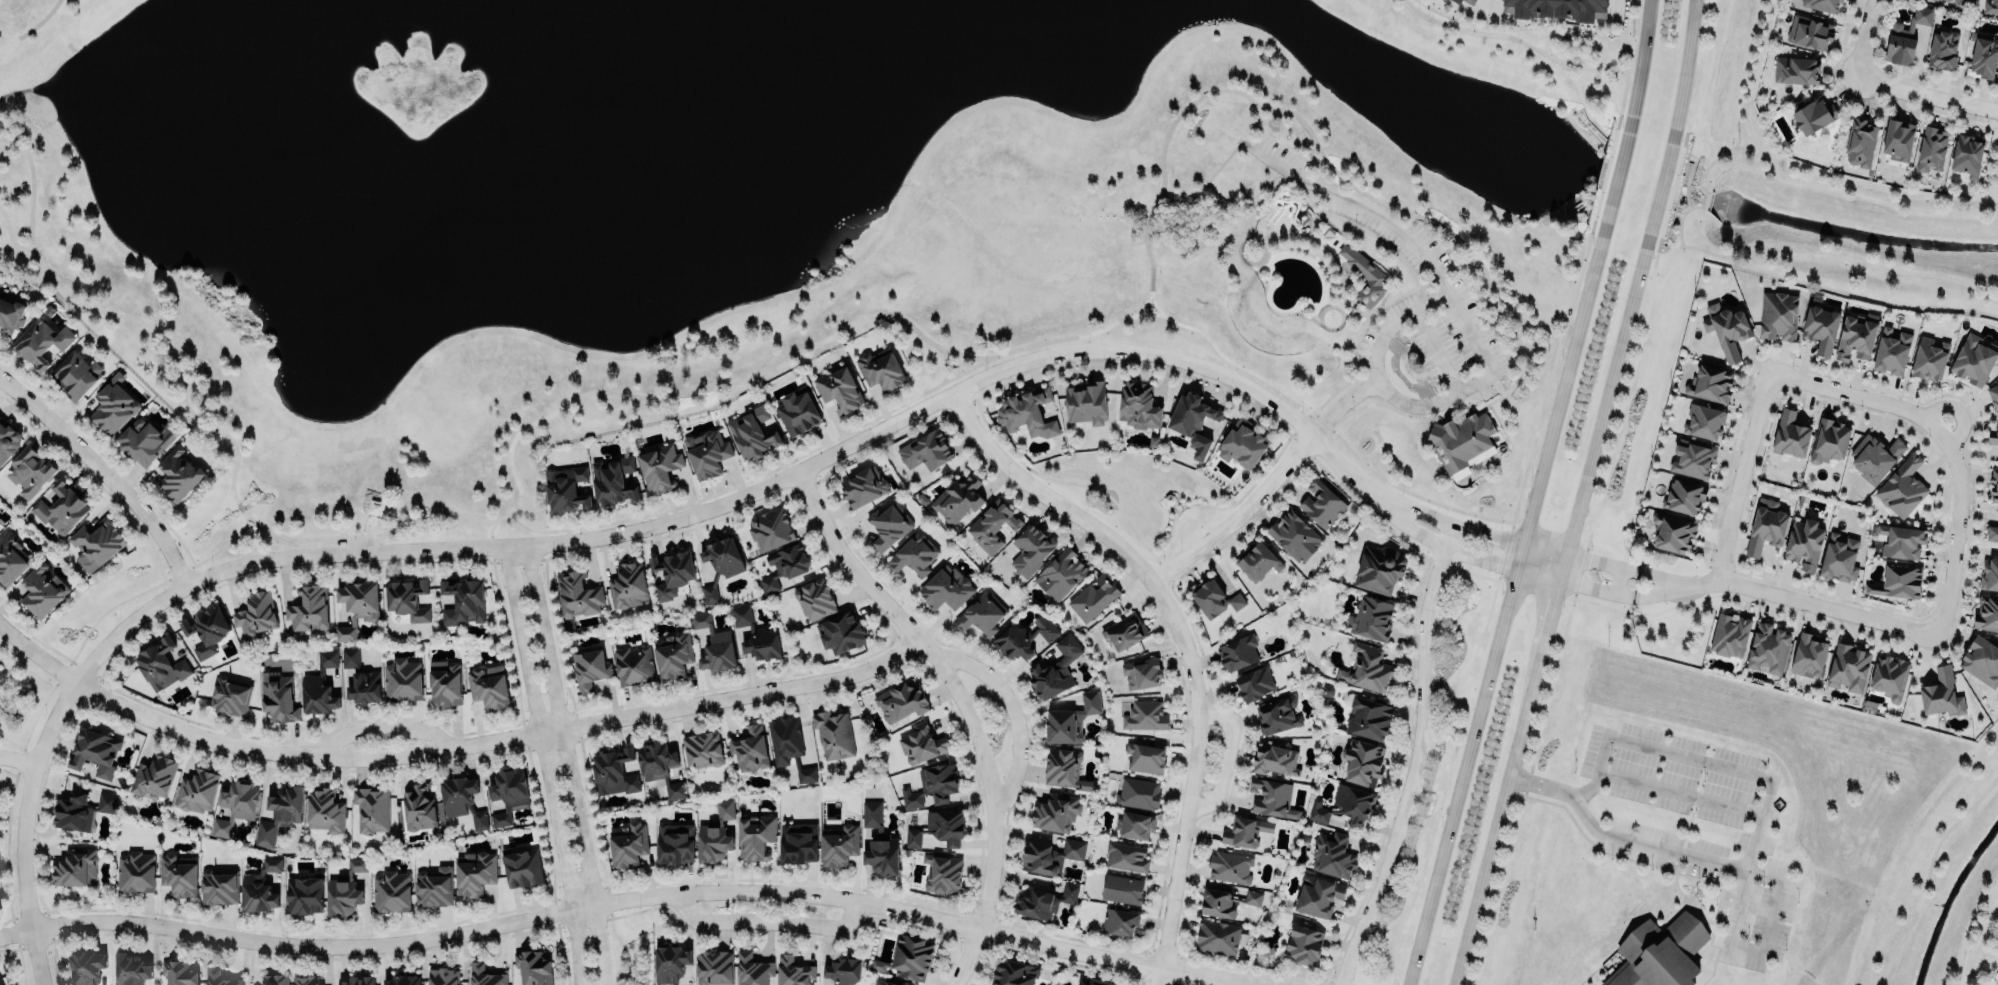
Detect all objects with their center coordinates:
building: (1477, 0)
building: (1946, 0)
building: (1456, 1)
building: (1469, 1)
road: (1490, 1)
building: (1824, 6)
building: (1990, 7)
building: (1557, 8)
road: (30, 27)
building: (1809, 32)
building: (1904, 37)
road: (1517, 39)
road: (1867, 40)
building: (1943, 50)
building: (1982, 56)
road: (1622, 66)
building: (1796, 70)
road: (1927, 96)
road: (1582, 100)
building: (1813, 116)
road: (1302, 121)
road: (1622, 122)
road: (1997, 127)
building: (1898, 140)
building: (1860, 143)
building: (1930, 149)
building: (1967, 155)
parking lot: (1280, 157)
road: (1218, 167)
road: (1688, 181)
road: (1797, 181)
park: (786, 218)
road: (1393, 227)
road: (1596, 228)
parking lot: (1392, 237)
road: (11, 239)
road: (1378, 239)
road: (1819, 253)
water park: (1308, 265)
building: (1364, 275)
road: (1143, 309)
building: (11, 313)
building: (1778, 315)
building: (1821, 326)
road: (1380, 328)
building: (1726, 329)
road: (1553, 331)
parking lot: (1449, 336)
building: (1855, 336)
building: (42, 340)
parking lot: (1365, 347)
building: (1892, 349)
road: (1436, 352)
building: (1975, 358)
building: (1930, 359)
road: (945, 366)
building: (880, 369)
road: (1406, 370)
building: (76, 371)
building: (1710, 382)
road: (1377, 383)
road: (1859, 383)
building: (839, 389)
road: (1429, 391)
road: (623, 393)
building: (1994, 394)
road: (1951, 397)
building: (1087, 402)
building: (1138, 404)
building: (112, 405)
road: (1344, 405)
road: (1482, 407)
road: (1314, 409)
building: (1027, 411)
building: (1997, 411)
building: (797, 414)
road: (1401, 414)
building: (1192, 418)
road: (1965, 418)
building: (1704, 422)
road: (1500, 427)
building: (752, 431)
building: (1790, 435)
building: (145, 438)
building: (1993, 438)
building: (8, 439)
building: (1829, 440)
building: (1243, 442)
building: (1462, 442)
building: (925, 450)
building: (707, 452)
building: (1875, 456)
road: (1339, 457)
building: (1693, 458)
building: (660, 466)
building: (29, 471)
road: (105, 471)
building: (175, 474)
road: (1737, 474)
road: (756, 477)
building: (614, 480)
road: (1063, 482)
building: (863, 485)
building: (566, 486)
building: (1903, 487)
building: (1994, 487)
road: (1581, 493)
road: (1600, 493)
road: (1536, 494)
road: (1518, 495)
building: (1684, 497)
building: (957, 498)
building: (1322, 502)
building: (61, 506)
road: (400, 506)
road: (1242, 515)
road: (362, 524)
building: (888, 524)
road: (240, 525)
road: (1461, 525)
building: (1766, 525)
building: (993, 526)
building: (771, 528)
road: (1957, 529)
road: (1389, 531)
building: (1673, 531)
building: (1992, 532)
road: (489, 533)
street lamp: (446, 536)
building: (1294, 536)
road: (1432, 540)
building: (1901, 540)
parking lot: (334, 542)
road: (545, 543)
building: (96, 544)
building: (1804, 544)
road: (221, 546)
road: (1976, 547)
building: (1031, 548)
building: (914, 554)
building: (1839, 556)
building: (8, 560)
road: (1608, 561)
building: (1258, 562)
building: (720, 563)
road: (363, 565)
building: (784, 565)
building: (1379, 570)
building: (672, 572)
building: (1060, 574)
building: (1990, 574)
road: (1678, 578)
building: (1897, 582)
building: (628, 585)
building: (946, 587)
building: (35, 588)
road: (1580, 588)
road: (1675, 590)
building: (577, 594)
building: (1094, 596)
building: (815, 597)
building: (407, 598)
building: (1214, 599)
building: (464, 600)
building: (357, 605)
building: (309, 608)
building: (1987, 612)
building: (982, 613)
building: (255, 614)
road: (1824, 614)
building: (1371, 617)
building: (205, 630)
building: (1125, 630)
building: (842, 632)
building: (1730, 634)
building: (756, 636)
building: (1023, 637)
road: (1185, 642)
building: (714, 643)
building: (1769, 647)
building: (1238, 651)
building: (673, 654)
building: (1809, 654)
building: (349, 658)
building: (1981, 661)
building: (161, 663)
road: (5, 664)
building: (634, 664)
building: (1367, 667)
building: (1848, 667)
building: (589, 669)
building: (1056, 669)
road: (28, 670)
building: (1141, 672)
building: (1890, 676)
building: (402, 680)
building: (445, 682)
building: (1255, 683)
building: (320, 685)
building: (489, 685)
building: (364, 686)
building: (1942, 692)
building: (229, 697)
building: (277, 697)
park: (22, 698)
building: (901, 701)
road: (965, 705)
road: (1013, 709)
road: (16, 712)
street lamp: (45, 713)
building: (1278, 714)
building: (1145, 715)
building: (1370, 716)
building: (1071, 718)
road: (379, 729)
building: (834, 734)
road: (11, 741)
building: (921, 743)
road: (24, 745)
building: (789, 745)
building: (703, 748)
road: (450, 749)
building: (749, 749)
building: (96, 751)
building: (1145, 757)
road: (16, 758)
building: (1275, 758)
road: (1418, 759)
building: (655, 760)
road: (1224, 760)
building: (1364, 762)
road: (569, 764)
road: (527, 765)
road: (545, 765)
building: (1062, 766)
building: (613, 771)
road: (582, 774)
building: (150, 776)
building: (932, 785)
building: (196, 790)
building: (674, 790)
building: (507, 791)
road: (1679, 792)
building: (1138, 793)
building: (462, 798)
building: (1271, 798)
building: (286, 804)
building: (1345, 804)
building: (236, 805)
building: (419, 806)
building: (372, 808)
building: (81, 809)
building: (325, 809)
building: (1055, 811)
building: (1135, 824)
building: (938, 827)
building: (1245, 830)
building: (716, 833)
building: (755, 836)
building: (879, 842)
building: (674, 843)
building: (798, 843)
building: (629, 845)
building: (840, 846)
building: (1050, 855)
building: (1332, 855)
building: (1126, 856)
building: (1229, 866)
building: (522, 867)
building: (75, 868)
building: (136, 871)
building: (941, 872)
building: (474, 873)
road: (1929, 873)
building: (179, 874)
building: (260, 886)
building: (434, 886)
building: (218, 887)
building: (345, 889)
building: (1122, 889)
building: (386, 891)
building: (304, 894)
building: (1318, 894)
building: (1252, 898)
building: (1043, 900)
road: (613, 903)
building: (1217, 903)
road: (1771, 916)
building: (1119, 920)
road: (768, 922)
road: (1989, 932)
building: (1217, 936)
road: (1965, 942)
building: (1303, 943)
building: (1662, 953)
building: (911, 956)
building: (669, 961)
building: (82, 965)
building: (533, 967)
building: (715, 967)
building: (132, 968)
building: (753, 970)
building: (844, 970)
building: (795, 971)
building: (179, 972)
building: (1013, 973)
building: (485, 975)
building: (443, 976)
building: (220, 977)
building: (403, 978)
building: (274, 979)
building: (305, 980)
building: (355, 980)
building: (1091, 981)
building: (0, 982)
building: (884, 982)
road: (1228, 983)
road: (1238, 983)

